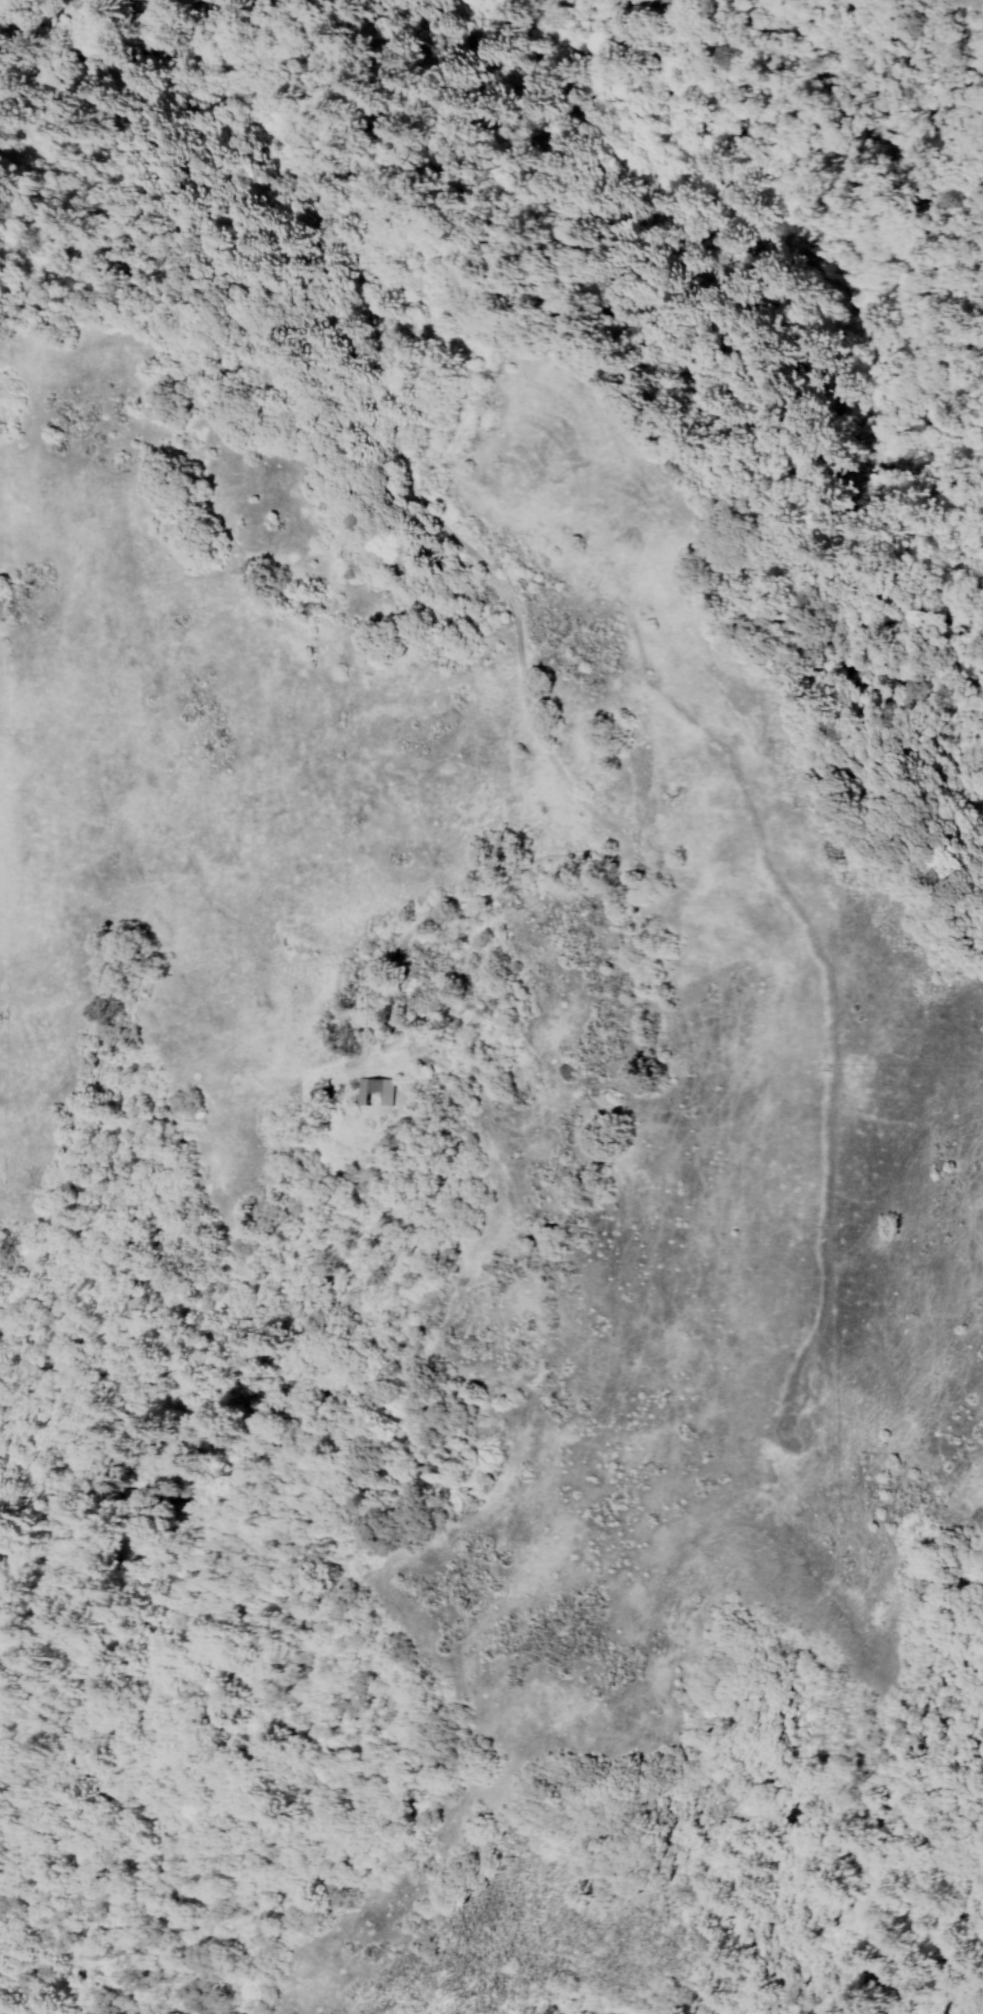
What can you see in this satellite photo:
road: (139, 31)
road: (311, 117)
road: (554, 764)
building: (420, 1059)
building: (313, 1088)
building: (369, 1092)

